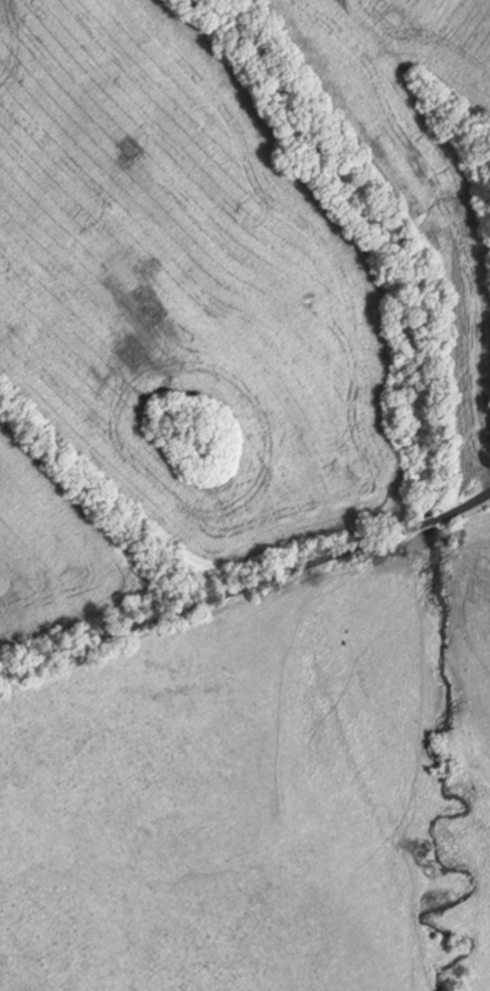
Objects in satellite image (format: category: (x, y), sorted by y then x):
road: (246, 576)

